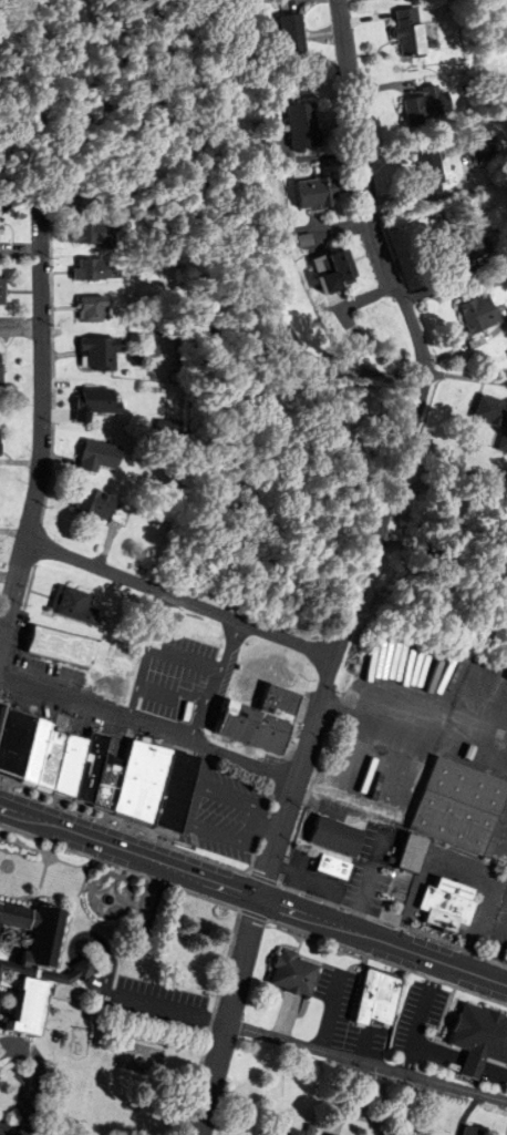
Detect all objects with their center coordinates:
building: (387, 0)
building: (288, 37)
building: (405, 39)
building: (421, 109)
building: (298, 129)
building: (473, 157)
building: (427, 168)
building: (314, 198)
building: (92, 236)
building: (17, 249)
building: (458, 249)
building: (97, 269)
building: (331, 276)
building: (2, 292)
building: (89, 309)
building: (477, 314)
building: (97, 355)
building: (1, 374)
building: (487, 402)
building: (93, 405)
road: (38, 421)
road: (401, 453)
building: (96, 458)
building: (96, 505)
road: (438, 560)
road: (178, 602)
building: (54, 625)
road: (146, 657)
parking lot: (178, 668)
road: (215, 684)
road: (148, 727)
building: (265, 730)
building: (97, 767)
building: (453, 806)
building: (499, 820)
parking lot: (229, 824)
road: (131, 830)
building: (406, 853)
building: (320, 861)
park: (118, 892)
road: (252, 899)
fountain: (108, 900)
building: (445, 910)
park: (148, 911)
parking lot: (490, 920)
road: (384, 922)
road: (105, 955)
building: (29, 964)
road: (83, 969)
building: (290, 990)
parking lot: (134, 994)
building: (374, 1001)
road: (163, 1008)
parking lot: (422, 1014)
road: (228, 1018)
building: (474, 1042)
park: (138, 1059)
road: (366, 1064)
building: (470, 1131)
road: (9, 1132)
building: (286, 1132)
building: (293, 1132)

